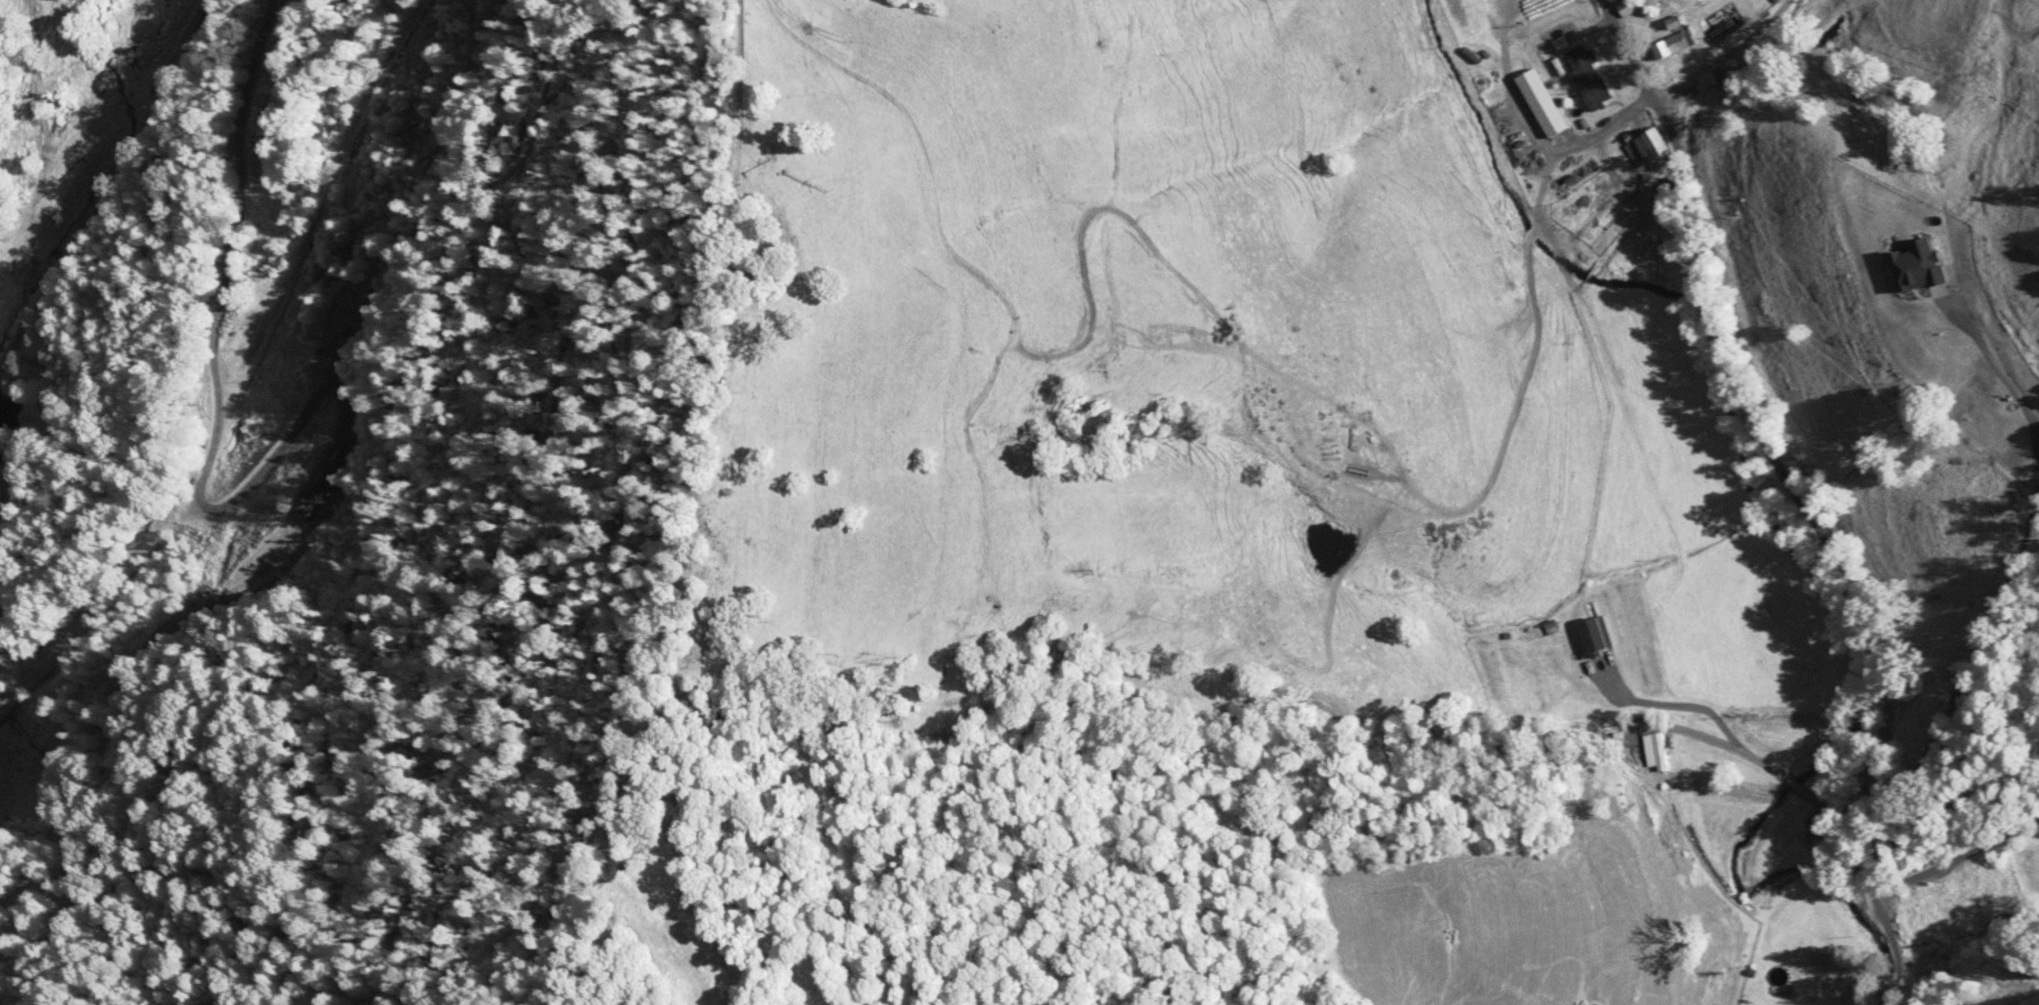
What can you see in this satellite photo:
building: (1626, 7)
building: (1672, 46)
building: (1590, 77)
road: (133, 143)
building: (1648, 151)
road: (1840, 484)
building: (317, 496)
building: (1658, 752)
road: (1971, 818)

